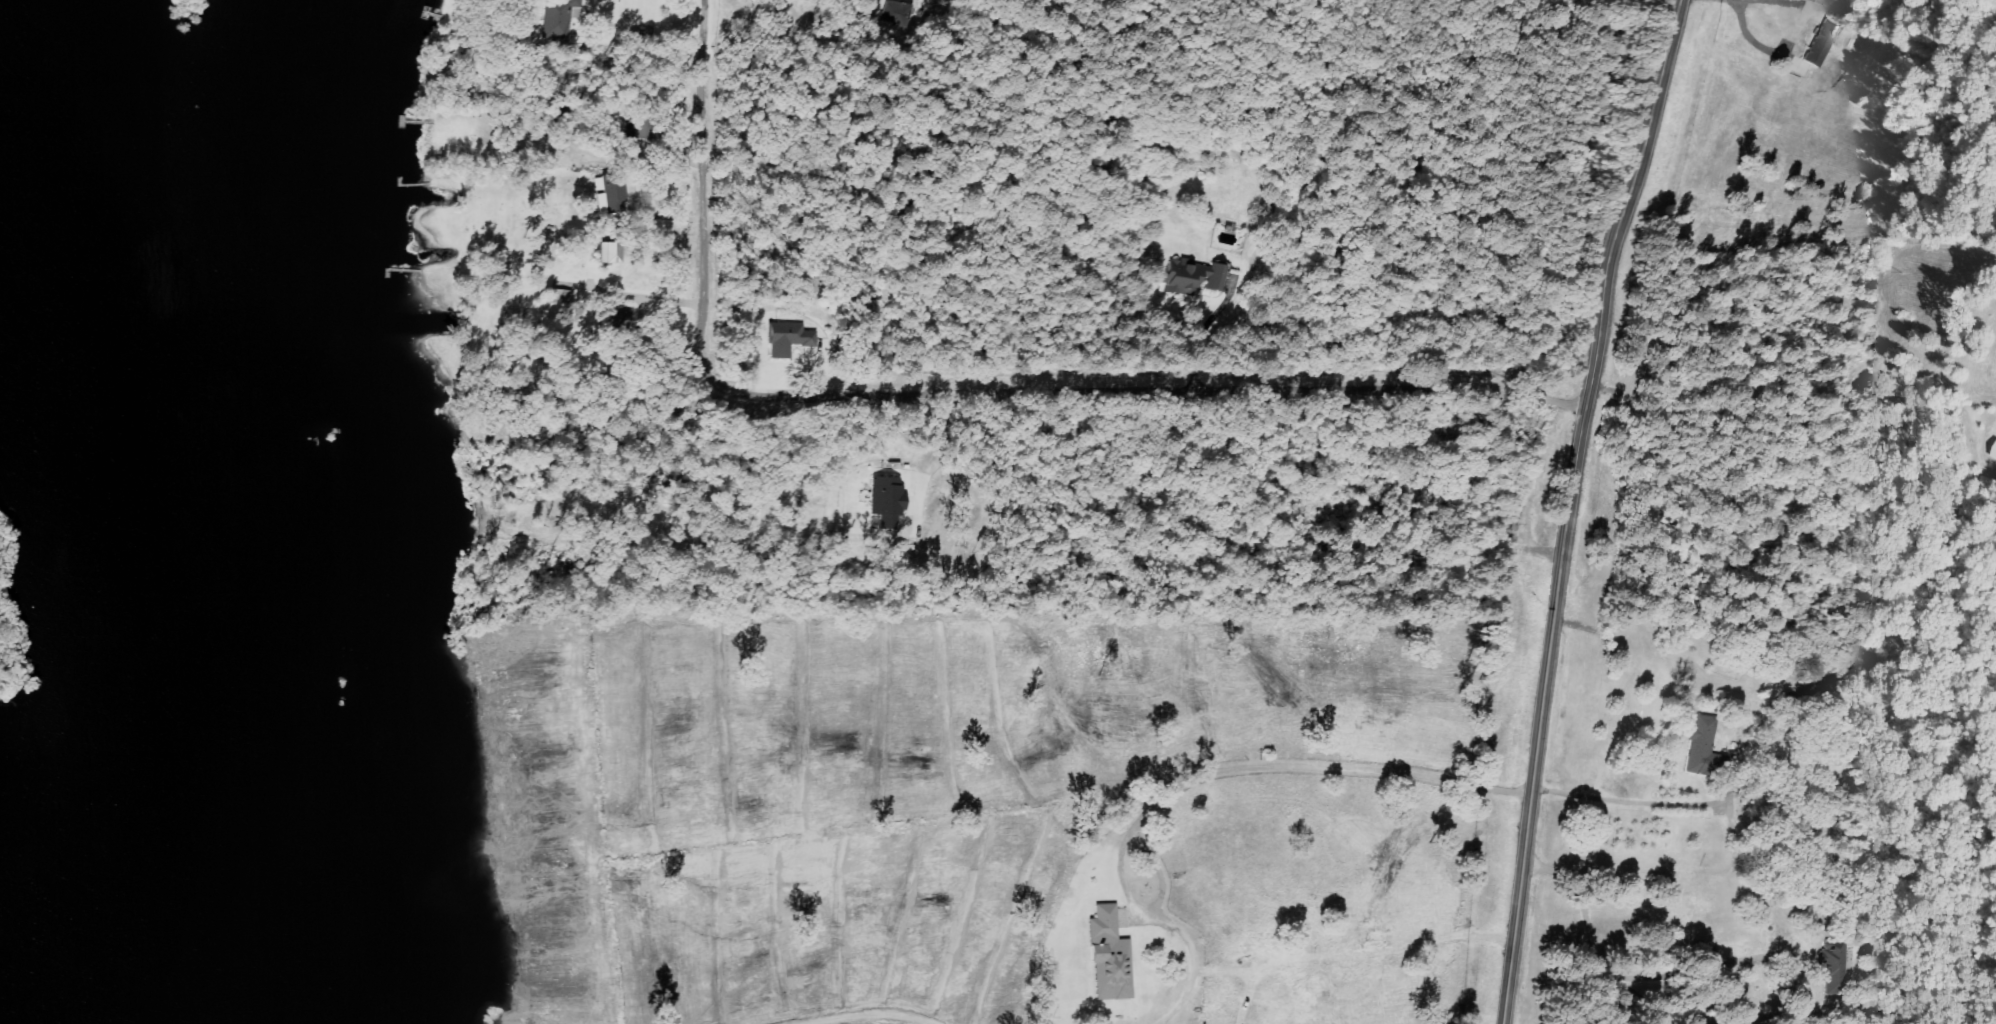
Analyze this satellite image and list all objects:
building: (902, 11)
building: (557, 19)
building: (1822, 42)
river: (220, 185)
building: (615, 192)
building: (615, 251)
building: (1197, 275)
building: (564, 299)
building: (623, 316)
road: (1215, 334)
building: (789, 337)
road: (968, 391)
building: (887, 501)
road: (1578, 508)
building: (1703, 747)
road: (1644, 803)
building: (1110, 955)
building: (1835, 962)

